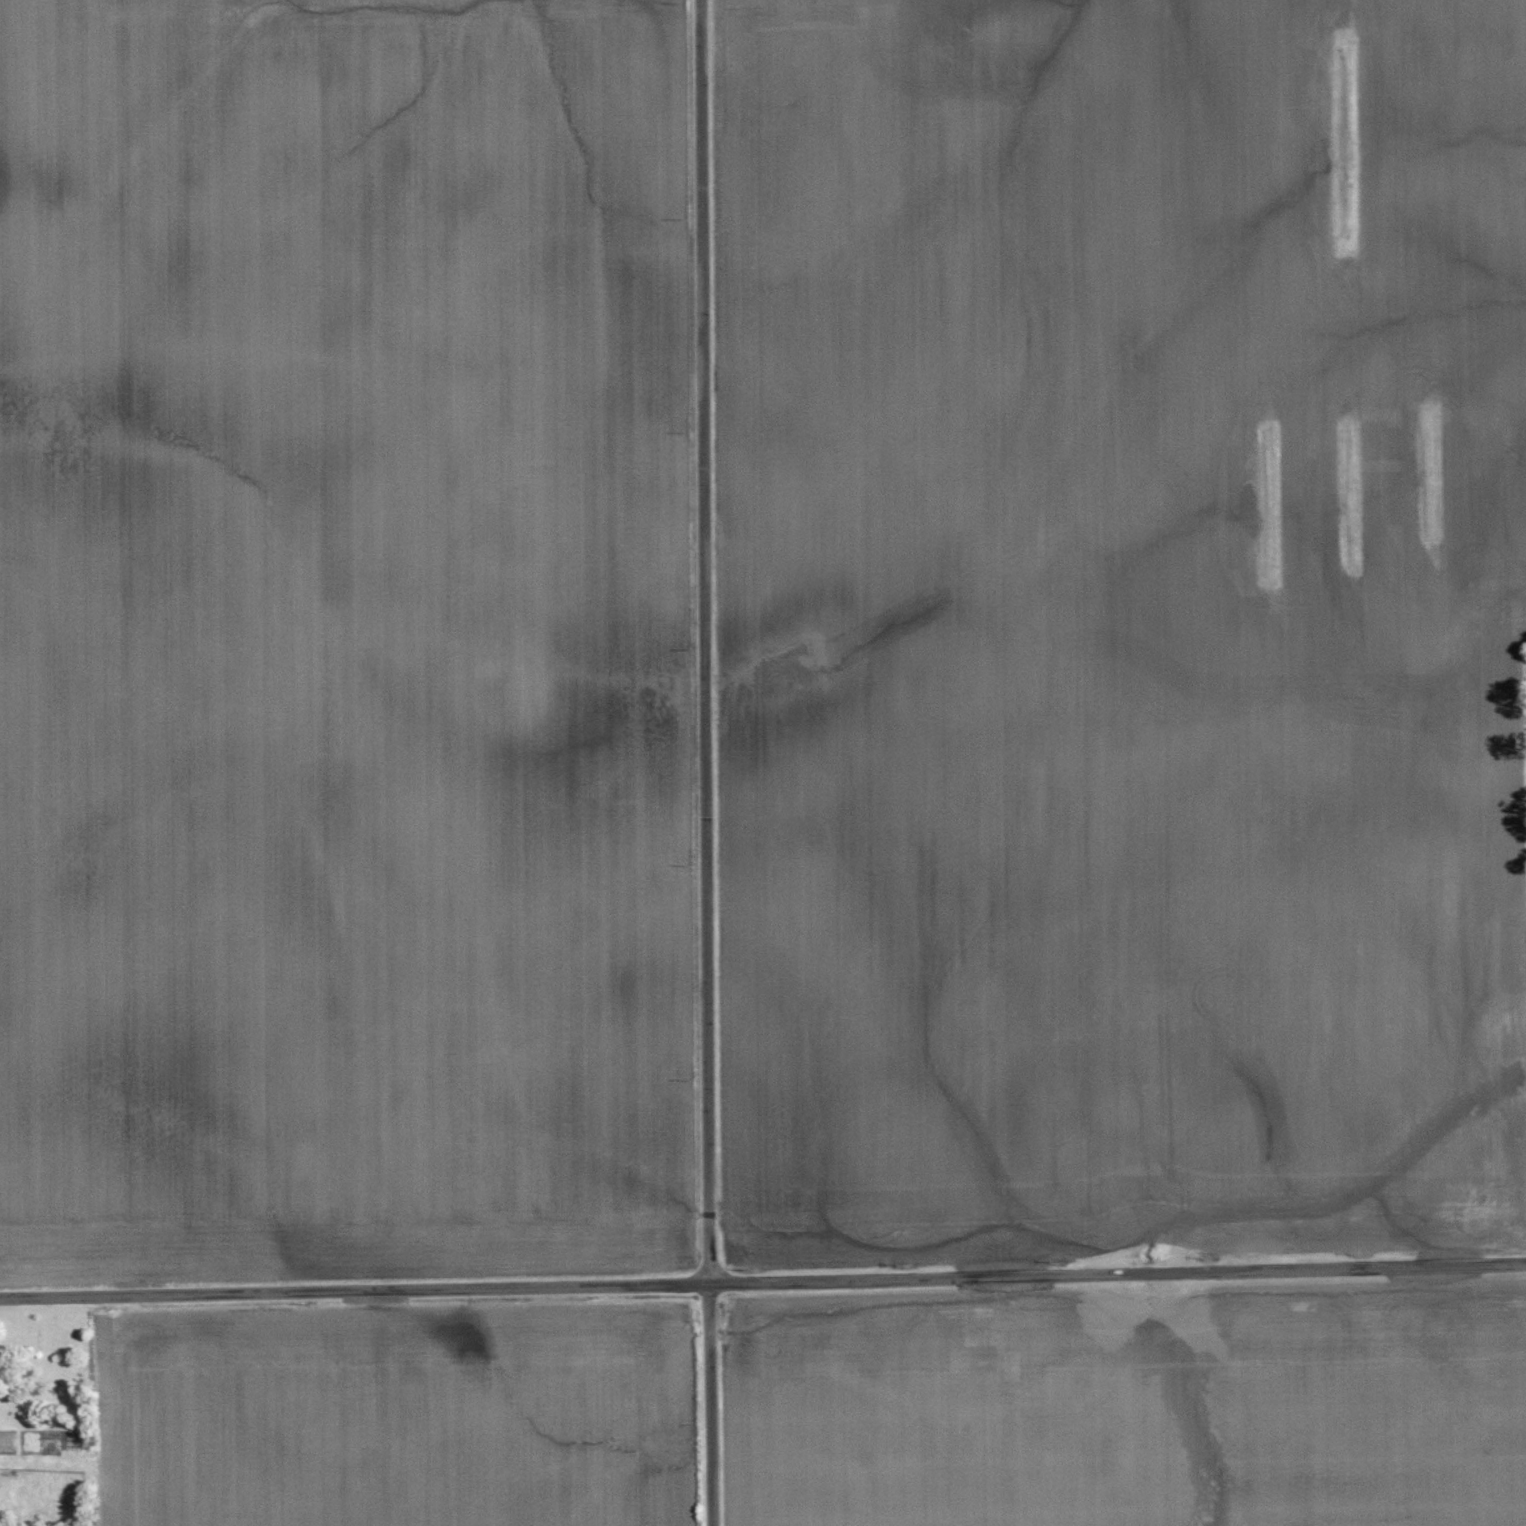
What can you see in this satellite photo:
crop: (352, 646)
road: (706, 763)
road: (763, 1281)

